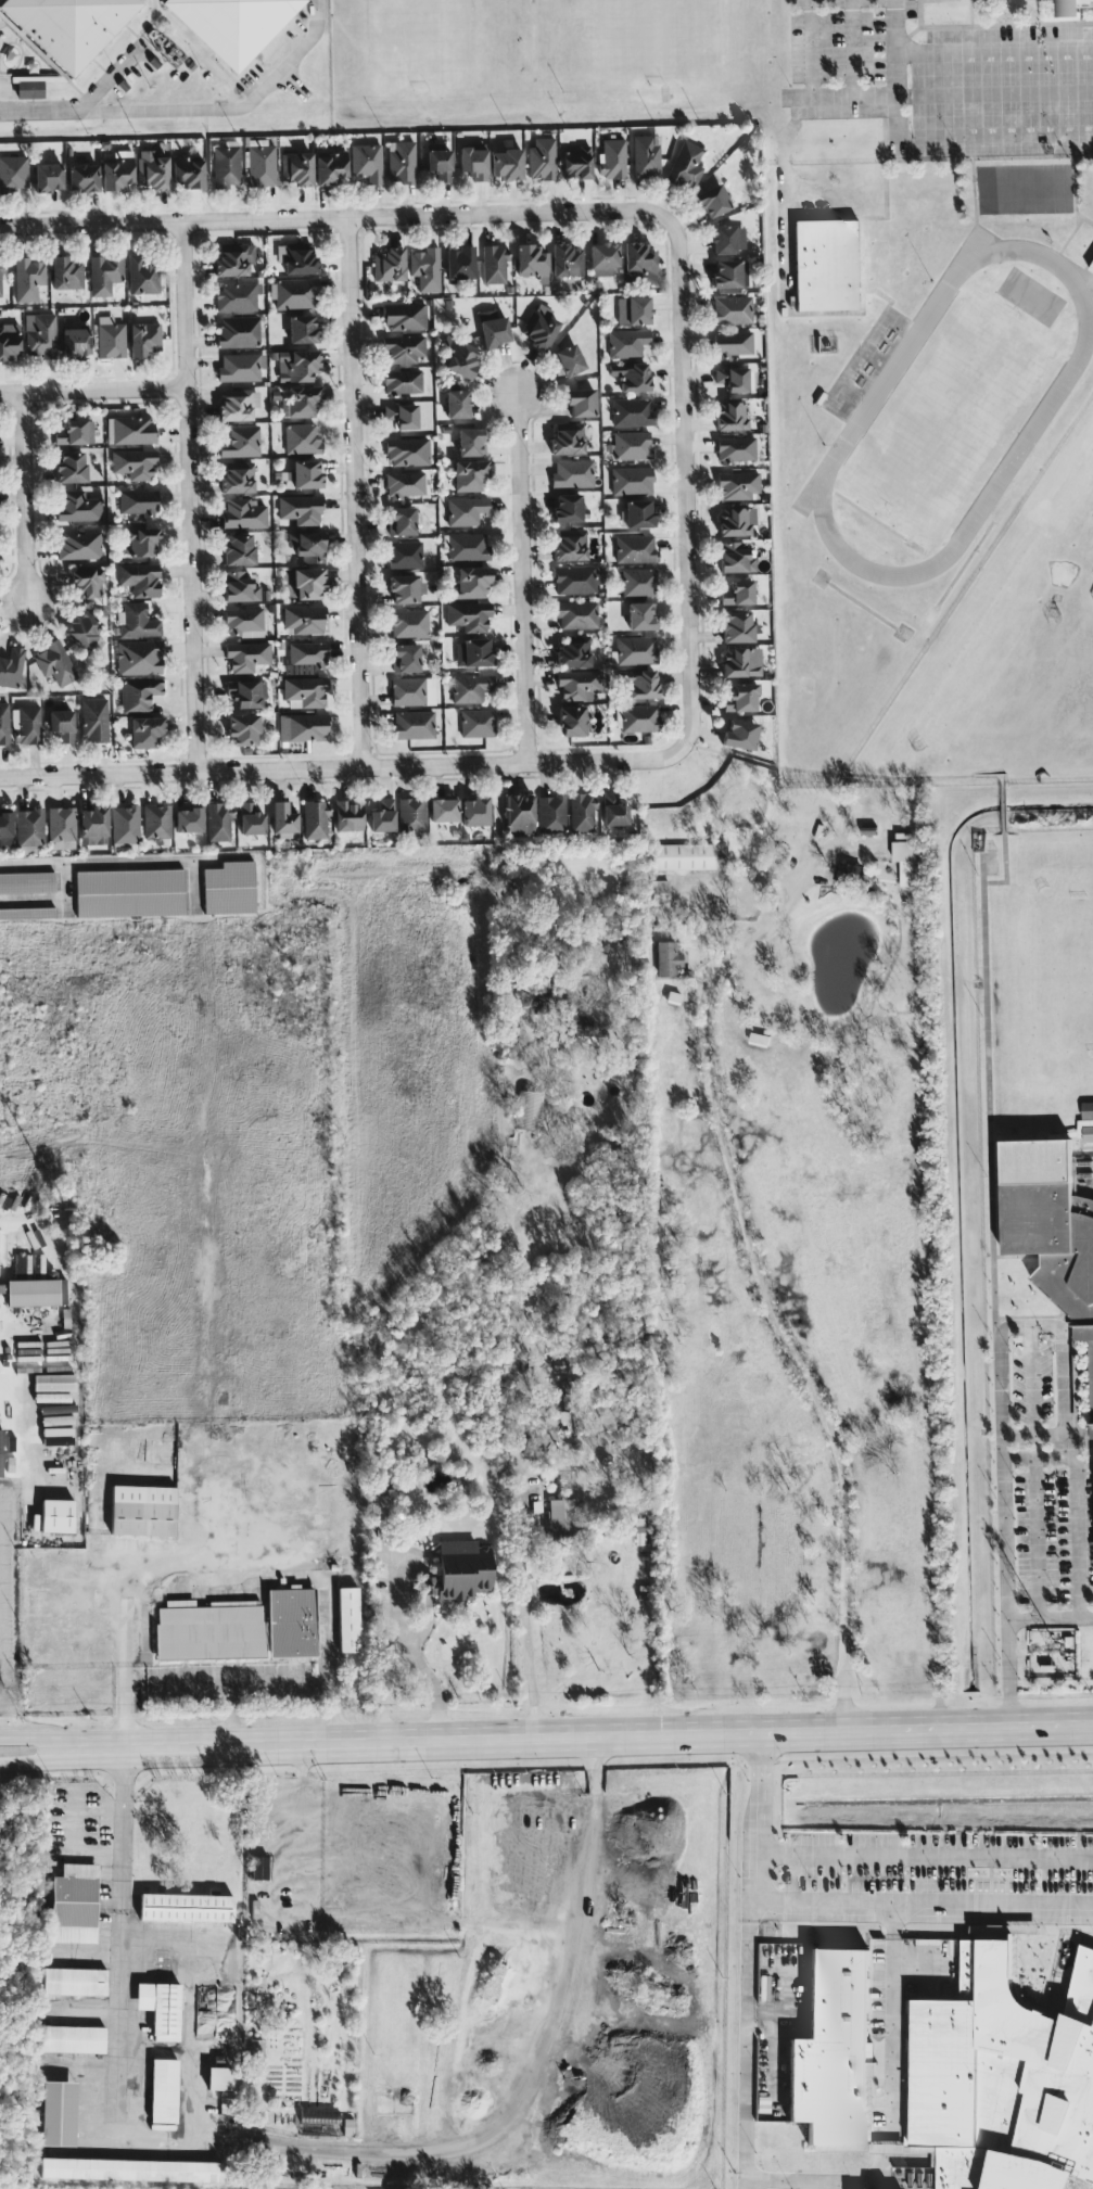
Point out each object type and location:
building: (1075, 4)
building: (233, 24)
building: (69, 25)
road: (306, 37)
road: (810, 47)
road: (850, 47)
road: (993, 51)
road: (893, 67)
road: (106, 78)
building: (29, 86)
road: (936, 92)
road: (205, 107)
road: (43, 111)
road: (993, 135)
road: (783, 152)
building: (646, 155)
building: (612, 157)
building: (542, 158)
building: (401, 161)
building: (367, 162)
building: (576, 162)
building: (439, 163)
building: (473, 163)
building: (507, 163)
building: (260, 164)
building: (226, 165)
building: (686, 165)
building: (330, 167)
building: (296, 168)
building: (152, 170)
building: (13, 171)
building: (117, 171)
building: (188, 171)
building: (48, 176)
building: (82, 177)
building: (712, 200)
road: (334, 219)
building: (728, 239)
building: (296, 257)
building: (233, 258)
building: (603, 258)
building: (567, 259)
building: (532, 262)
building: (460, 263)
building: (638, 263)
building: (389, 264)
building: (494, 264)
building: (826, 264)
building: (1091, 267)
building: (425, 268)
building: (66, 272)
building: (730, 272)
building: (104, 273)
building: (142, 276)
building: (0, 278)
building: (28, 279)
building: (293, 293)
building: (238, 295)
building: (633, 309)
building: (732, 309)
building: (405, 316)
building: (303, 328)
building: (493, 328)
building: (539, 329)
building: (238, 331)
building: (39, 334)
building: (111, 338)
building: (144, 338)
building: (9, 341)
building: (76, 341)
building: (626, 342)
building: (732, 343)
building: (403, 348)
building: (569, 359)
building: (296, 364)
building: (241, 366)
building: (632, 376)
building: (734, 378)
building: (403, 382)
road: (91, 390)
building: (303, 400)
building: (581, 402)
building: (457, 403)
building: (238, 404)
building: (632, 411)
track: (1039, 413)
building: (402, 415)
building: (730, 416)
building: (129, 430)
building: (75, 432)
building: (302, 438)
building: (568, 438)
building: (241, 441)
building: (471, 442)
building: (632, 444)
building: (735, 448)
building: (407, 450)
building: (134, 462)
building: (71, 467)
building: (304, 473)
building: (572, 473)
building: (469, 475)
building: (238, 476)
building: (632, 480)
road: (683, 481)
building: (404, 484)
building: (737, 485)
road: (353, 492)
road: (23, 494)
road: (187, 495)
building: (138, 501)
building: (77, 506)
building: (568, 507)
building: (301, 509)
building: (466, 510)
building: (243, 512)
building: (636, 513)
building: (402, 520)
building: (736, 520)
building: (79, 545)
building: (308, 545)
building: (570, 545)
building: (468, 547)
building: (635, 548)
building: (238, 549)
building: (405, 555)
building: (736, 557)
building: (140, 578)
building: (576, 578)
road: (524, 580)
building: (471, 582)
building: (638, 582)
building: (87, 583)
building: (308, 583)
building: (240, 586)
building: (405, 588)
park: (1091, 591)
building: (737, 593)
building: (577, 614)
building: (469, 615)
building: (641, 615)
building: (304, 620)
building: (138, 621)
building: (243, 622)
building: (409, 623)
building: (737, 627)
building: (85, 631)
building: (636, 649)
building: (573, 650)
building: (472, 652)
building: (308, 654)
building: (247, 656)
building: (139, 657)
building: (405, 657)
building: (741, 661)
building: (55, 662)
building: (11, 667)
building: (639, 683)
building: (579, 684)
building: (470, 687)
building: (412, 690)
building: (305, 691)
building: (246, 692)
building: (139, 693)
building: (740, 698)
building: (639, 717)
building: (93, 718)
building: (572, 720)
building: (4, 722)
building: (476, 723)
building: (28, 724)
building: (62, 724)
building: (414, 724)
building: (302, 726)
building: (242, 729)
building: (145, 730)
building: (739, 734)
road: (342, 765)
building: (443, 809)
building: (613, 809)
building: (474, 811)
building: (551, 812)
building: (582, 812)
building: (520, 813)
building: (411, 814)
building: (347, 815)
building: (382, 815)
building: (282, 817)
building: (250, 818)
building: (188, 819)
building: (315, 819)
building: (156, 820)
building: (218, 822)
building: (5, 824)
building: (61, 824)
building: (125, 824)
building: (93, 825)
building: (29, 826)
road: (498, 852)
building: (682, 855)
building: (905, 860)
road: (94, 869)
building: (847, 875)
building: (27, 881)
building: (229, 888)
building: (129, 892)
building: (660, 892)
building: (27, 912)
building: (668, 958)
building: (536, 1001)
road: (986, 1093)
building: (1088, 1120)
building: (1051, 1226)
building: (1, 1252)
road: (508, 1268)
building: (0, 1285)
building: (36, 1291)
road: (775, 1302)
road: (216, 1353)
road: (1030, 1379)
building: (573, 1403)
road: (1000, 1415)
road: (22, 1426)
building: (56, 1435)
road: (171, 1475)
road: (1073, 1500)
building: (382, 1505)
building: (142, 1510)
building: (560, 1514)
building: (56, 1515)
road: (1034, 1537)
road: (521, 1565)
building: (459, 1570)
road: (191, 1582)
road: (1048, 1616)
building: (347, 1619)
building: (291, 1621)
road: (427, 1628)
building: (211, 1630)
road: (409, 1647)
road: (212, 1688)
road: (1051, 1723)
road: (953, 1727)
road: (510, 1736)
road: (62, 1739)
road: (62, 1756)
road: (933, 1756)
road: (765, 1760)
road: (63, 1828)
road: (925, 1854)
building: (259, 1867)
parking lot: (938, 1876)
road: (989, 1876)
road: (842, 1898)
road: (975, 1899)
building: (74, 1904)
building: (186, 1907)
road: (784, 1908)
road: (892, 1918)
road: (831, 1921)
road: (891, 1922)
road: (974, 1924)
road: (996, 1927)
road: (149, 1948)
building: (1014, 1957)
road: (918, 1965)
road: (1050, 1968)
building: (74, 1981)
building: (161, 2008)
parking lot: (898, 2010)
road: (776, 2011)
road: (91, 2012)
road: (775, 2021)
building: (908, 2034)
road: (890, 2035)
building: (73, 2038)
road: (748, 2041)
road: (196, 2047)
building: (833, 2050)
building: (220, 2077)
building: (1004, 2078)
road: (533, 2087)
building: (164, 2090)
building: (869, 2099)
building: (907, 2110)
building: (59, 2113)
building: (319, 2121)
road: (127, 2146)
road: (819, 2148)
road: (887, 2148)
road: (928, 2148)
building: (131, 2168)
road: (795, 2179)
road: (840, 2179)
road: (850, 2185)
road: (1079, 2186)
road: (793, 2188)

